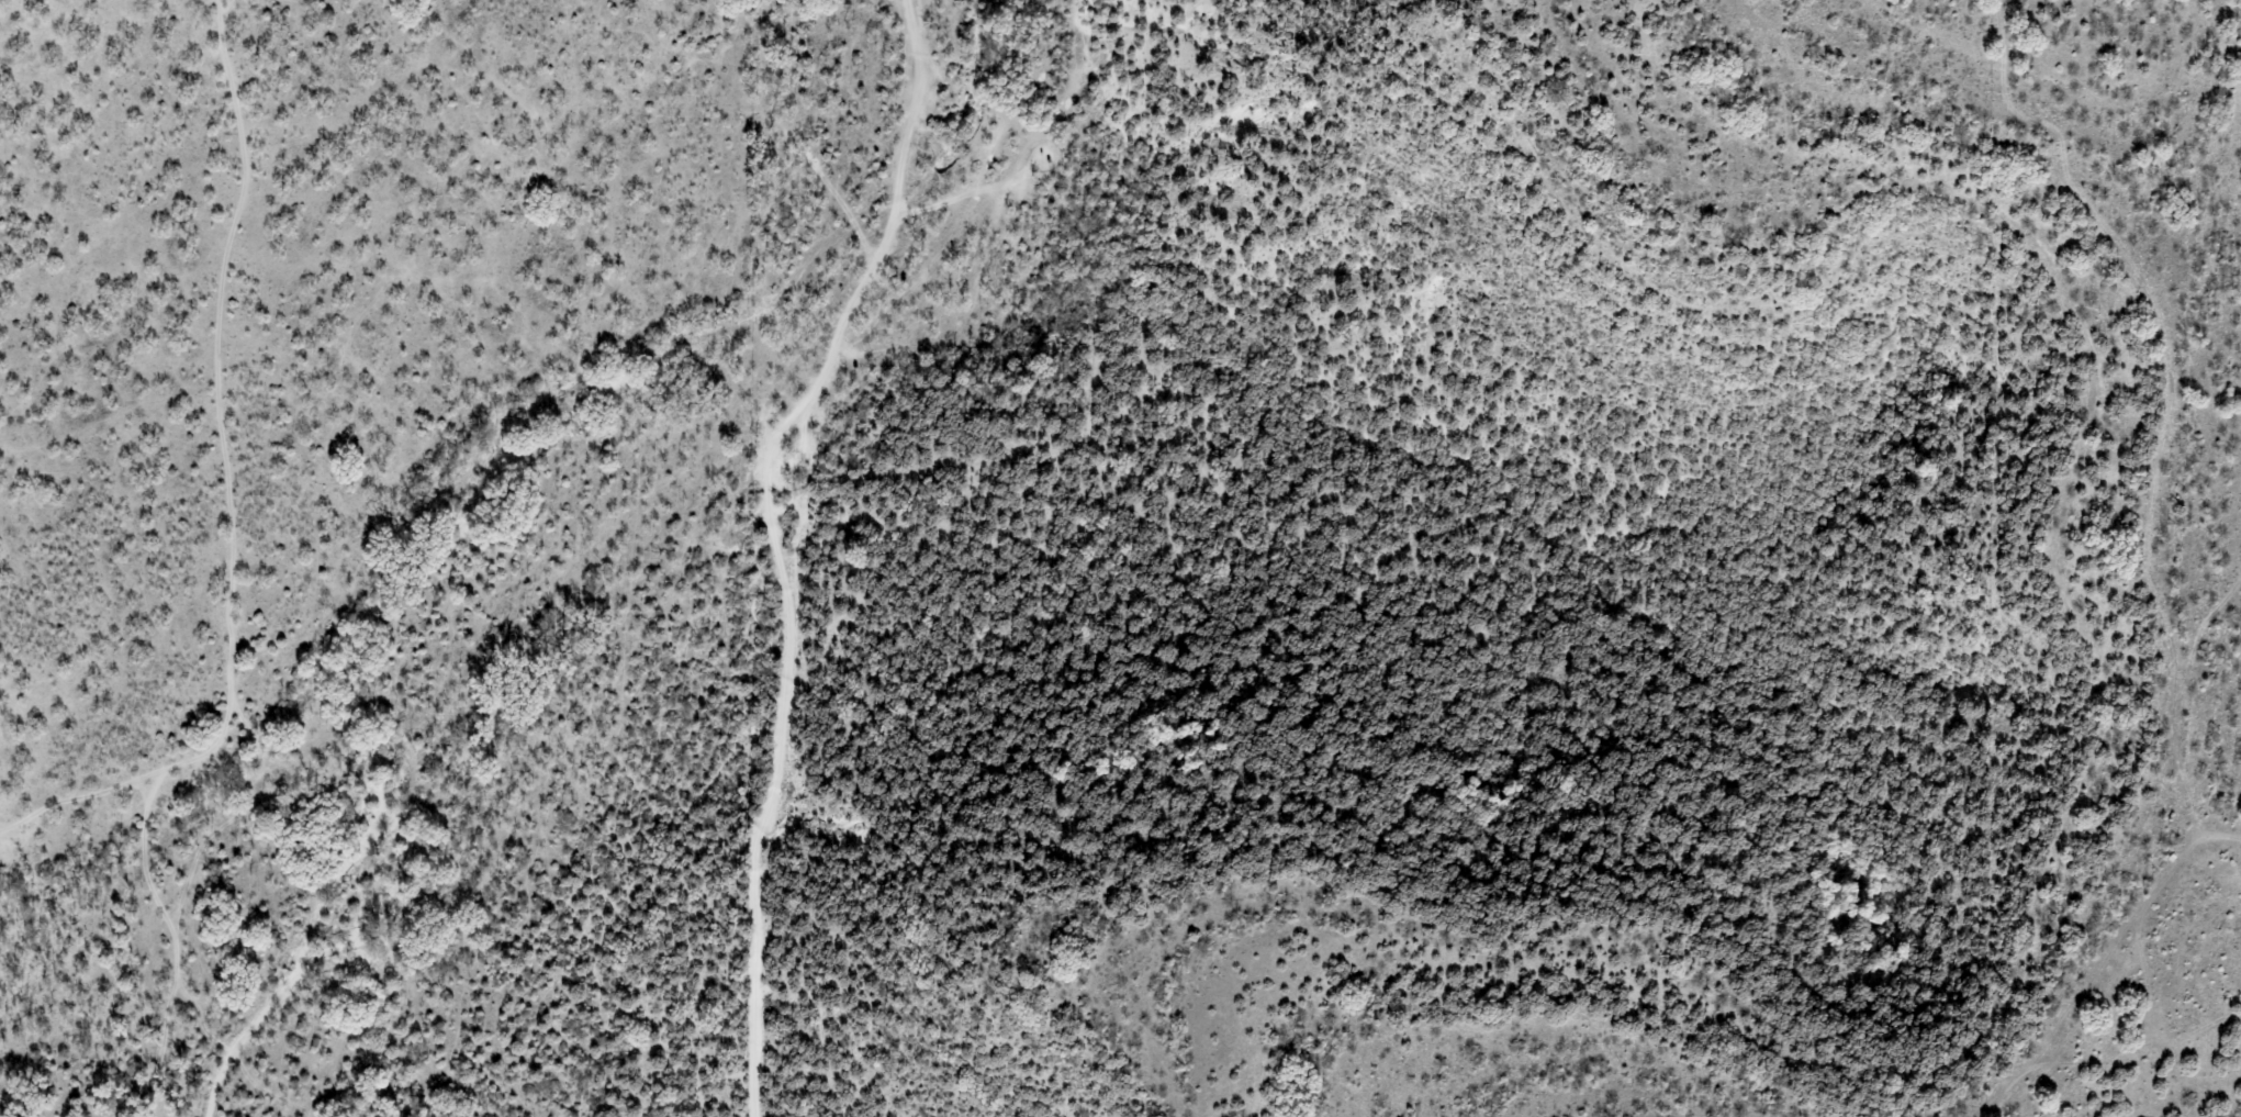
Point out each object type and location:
road: (769, 545)

